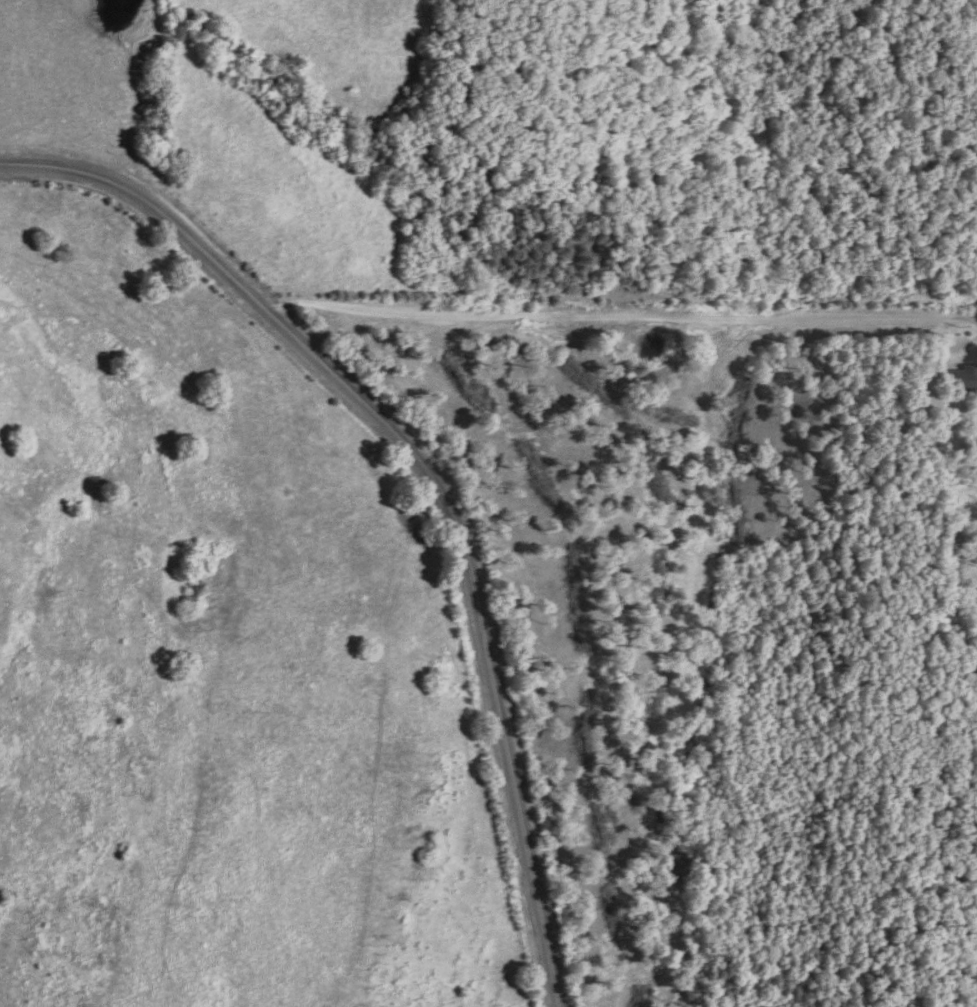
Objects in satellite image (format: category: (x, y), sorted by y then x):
road: (602, 314)
building: (955, 381)
road: (428, 479)

